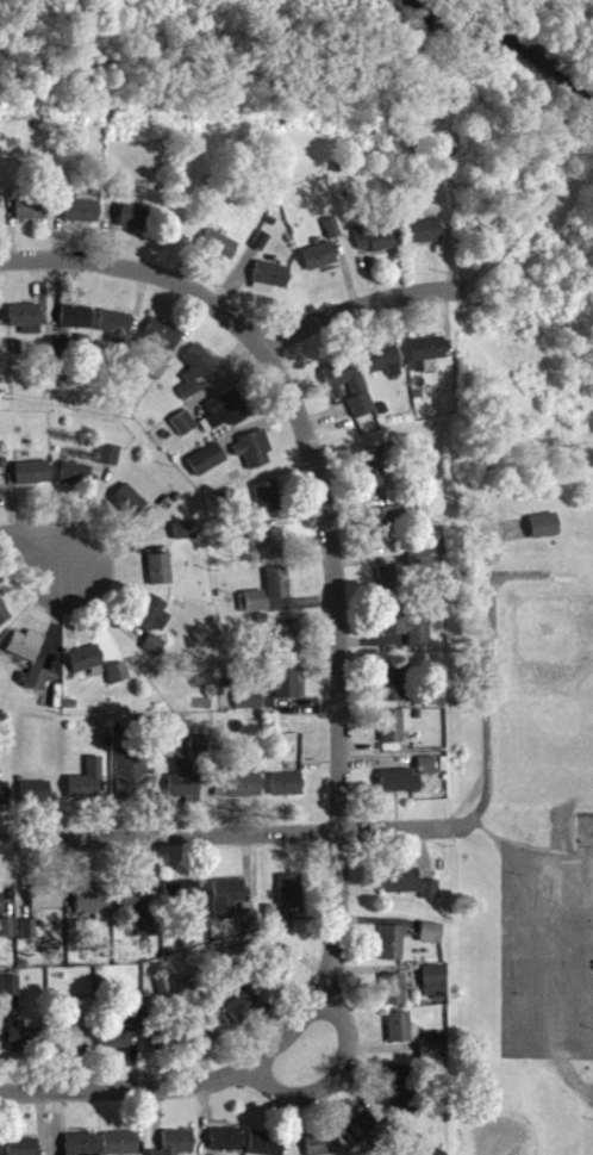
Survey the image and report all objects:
building: (31, 218)
building: (82, 221)
building: (133, 226)
building: (332, 237)
building: (424, 241)
building: (379, 247)
building: (219, 255)
building: (320, 266)
road: (145, 277)
building: (270, 286)
road: (360, 305)
building: (76, 327)
building: (26, 328)
building: (116, 335)
building: (162, 344)
building: (426, 361)
building: (383, 370)
building: (195, 379)
building: (349, 396)
building: (227, 418)
building: (185, 433)
building: (254, 459)
building: (110, 464)
building: (207, 468)
building: (373, 482)
building: (33, 483)
building: (75, 484)
building: (267, 507)
building: (130, 509)
building: (388, 533)
building: (544, 535)
building: (186, 540)
road: (30, 546)
building: (271, 553)
building: (161, 579)
building: (391, 588)
building: (277, 592)
building: (256, 610)
building: (4, 623)
building: (154, 623)
building: (408, 638)
building: (287, 650)
building: (155, 654)
building: (25, 656)
building: (87, 667)
road: (338, 671)
building: (118, 683)
road: (480, 685)
building: (38, 688)
park: (543, 690)
building: (291, 693)
building: (392, 696)
building: (249, 709)
building: (392, 735)
building: (200, 755)
building: (427, 775)
building: (131, 782)
building: (185, 788)
building: (400, 790)
building: (88, 791)
building: (287, 794)
building: (244, 795)
building: (36, 801)
building: (5, 803)
road: (225, 834)
building: (411, 894)
building: (291, 900)
building: (182, 901)
building: (46, 907)
building: (229, 907)
building: (1, 912)
building: (93, 912)
building: (138, 919)
building: (249, 931)
building: (201, 936)
building: (7, 937)
building: (432, 942)
building: (393, 952)
building: (277, 985)
building: (433, 991)
building: (12, 995)
building: (188, 995)
building: (394, 999)
building: (245, 1018)
building: (76, 1032)
building: (210, 1036)
building: (121, 1038)
building: (402, 1038)
building: (20, 1047)
building: (432, 1056)
road: (327, 1082)
road: (176, 1089)
building: (399, 1092)
park: (517, 1113)
building: (361, 1137)
building: (226, 1147)
building: (121, 1148)
building: (179, 1148)
building: (82, 1149)
building: (267, 1149)
building: (323, 1149)
building: (0, 1150)
building: (24, 1151)

